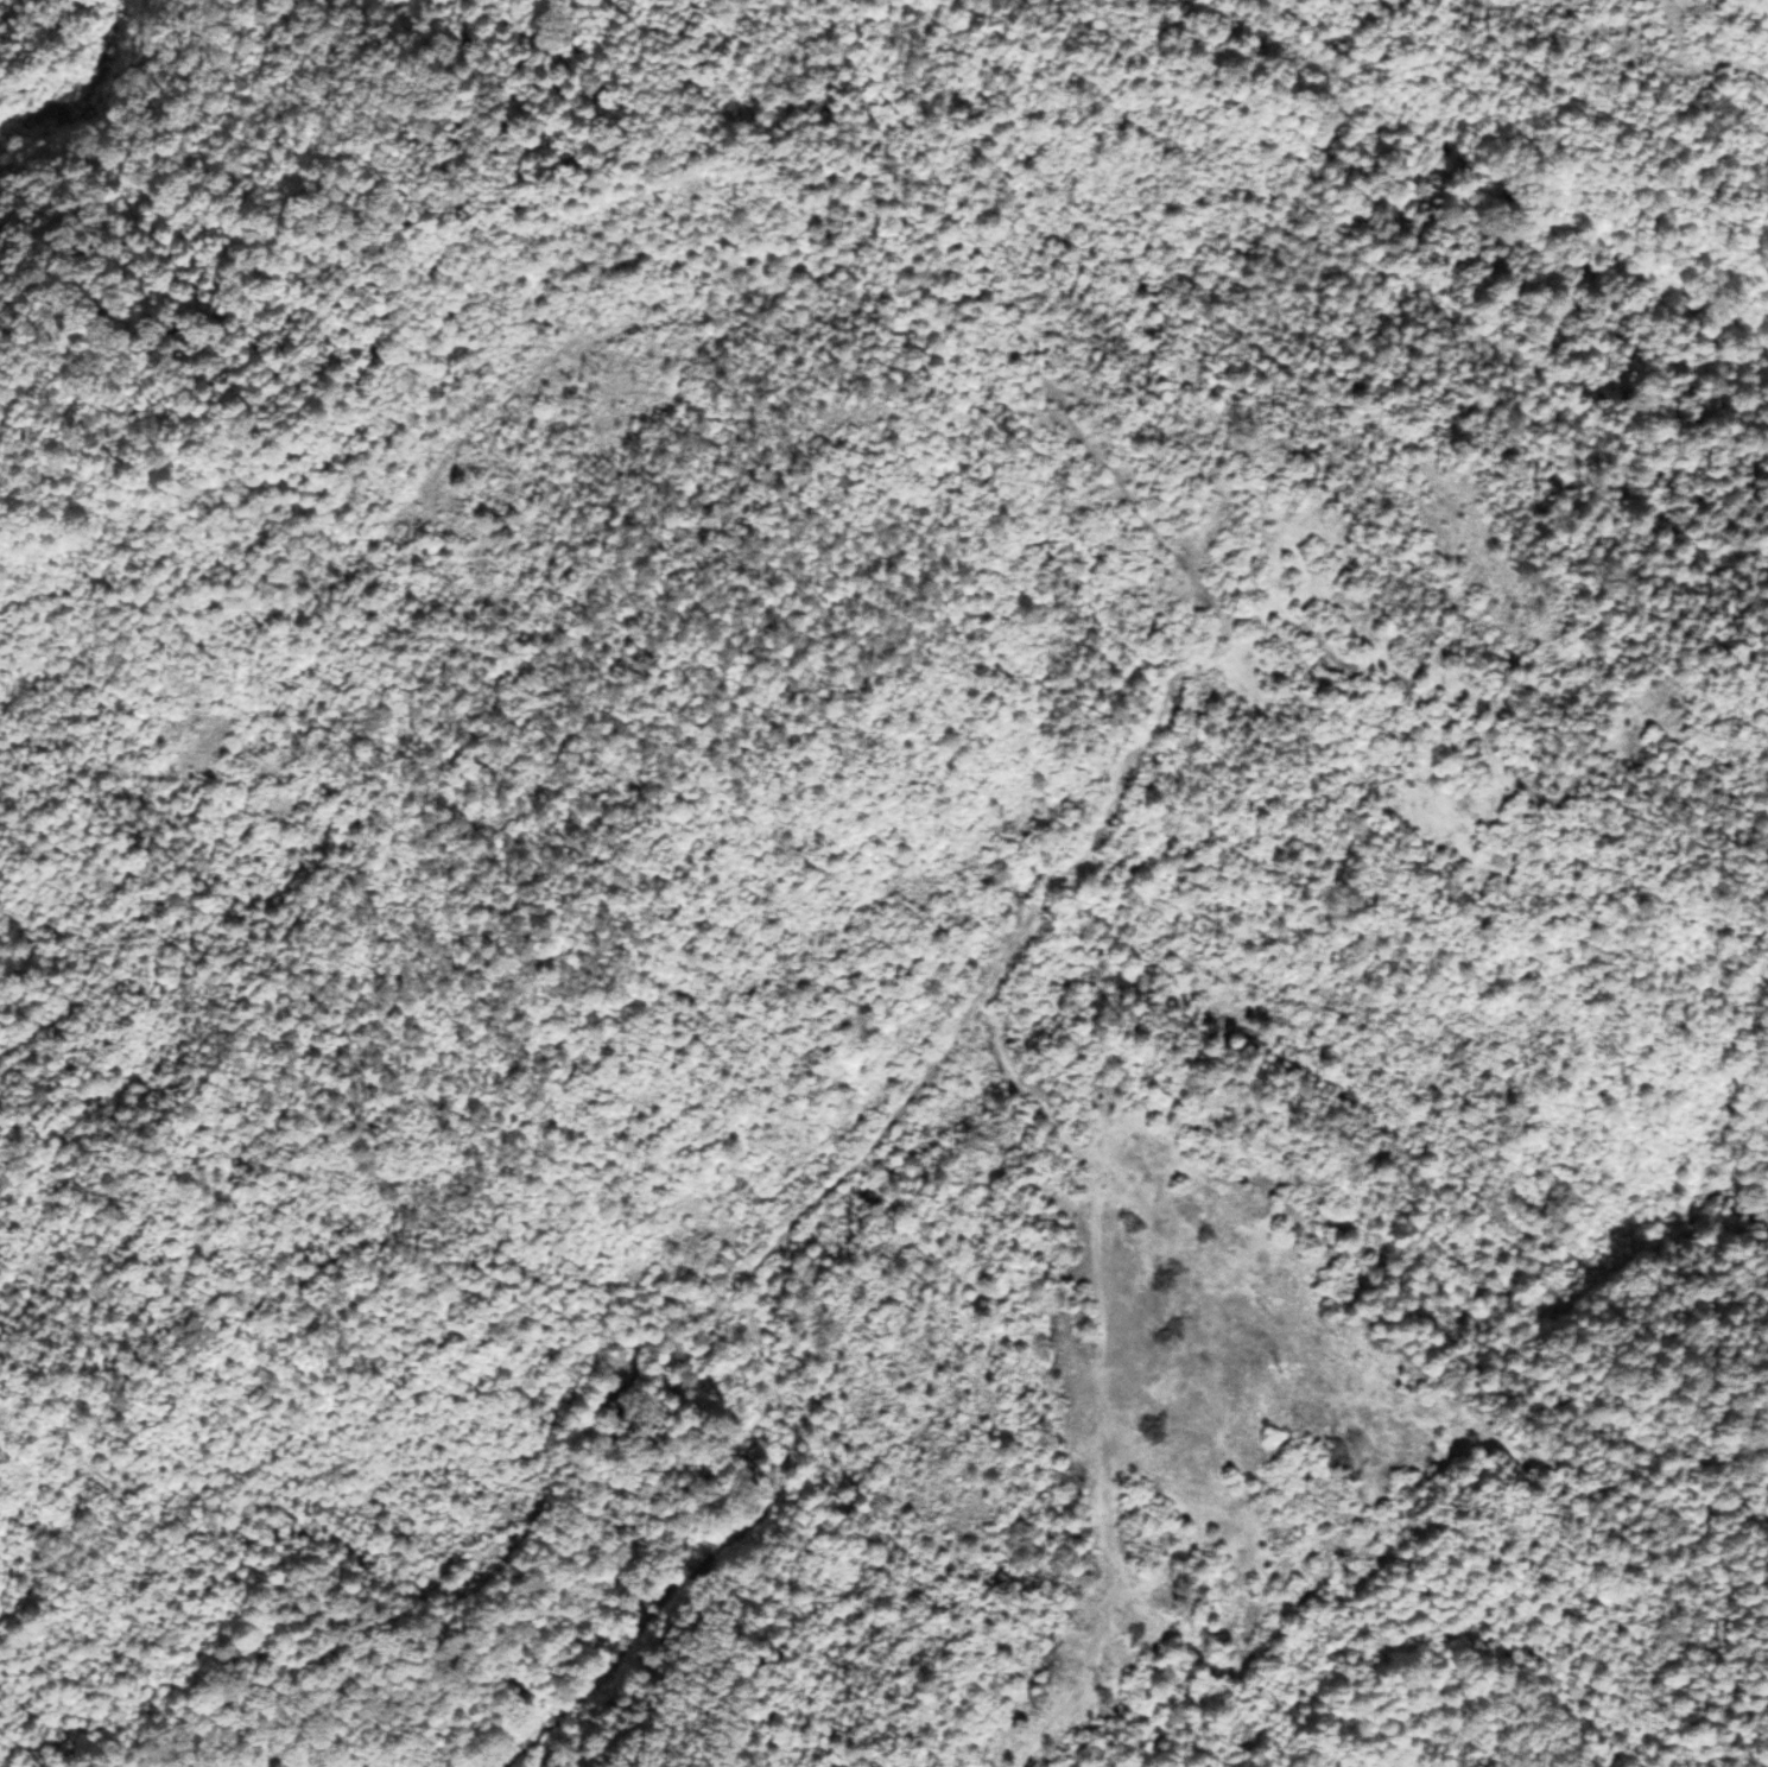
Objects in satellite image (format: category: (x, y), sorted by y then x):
building: (1318, 1439)
road: (578, 1698)

